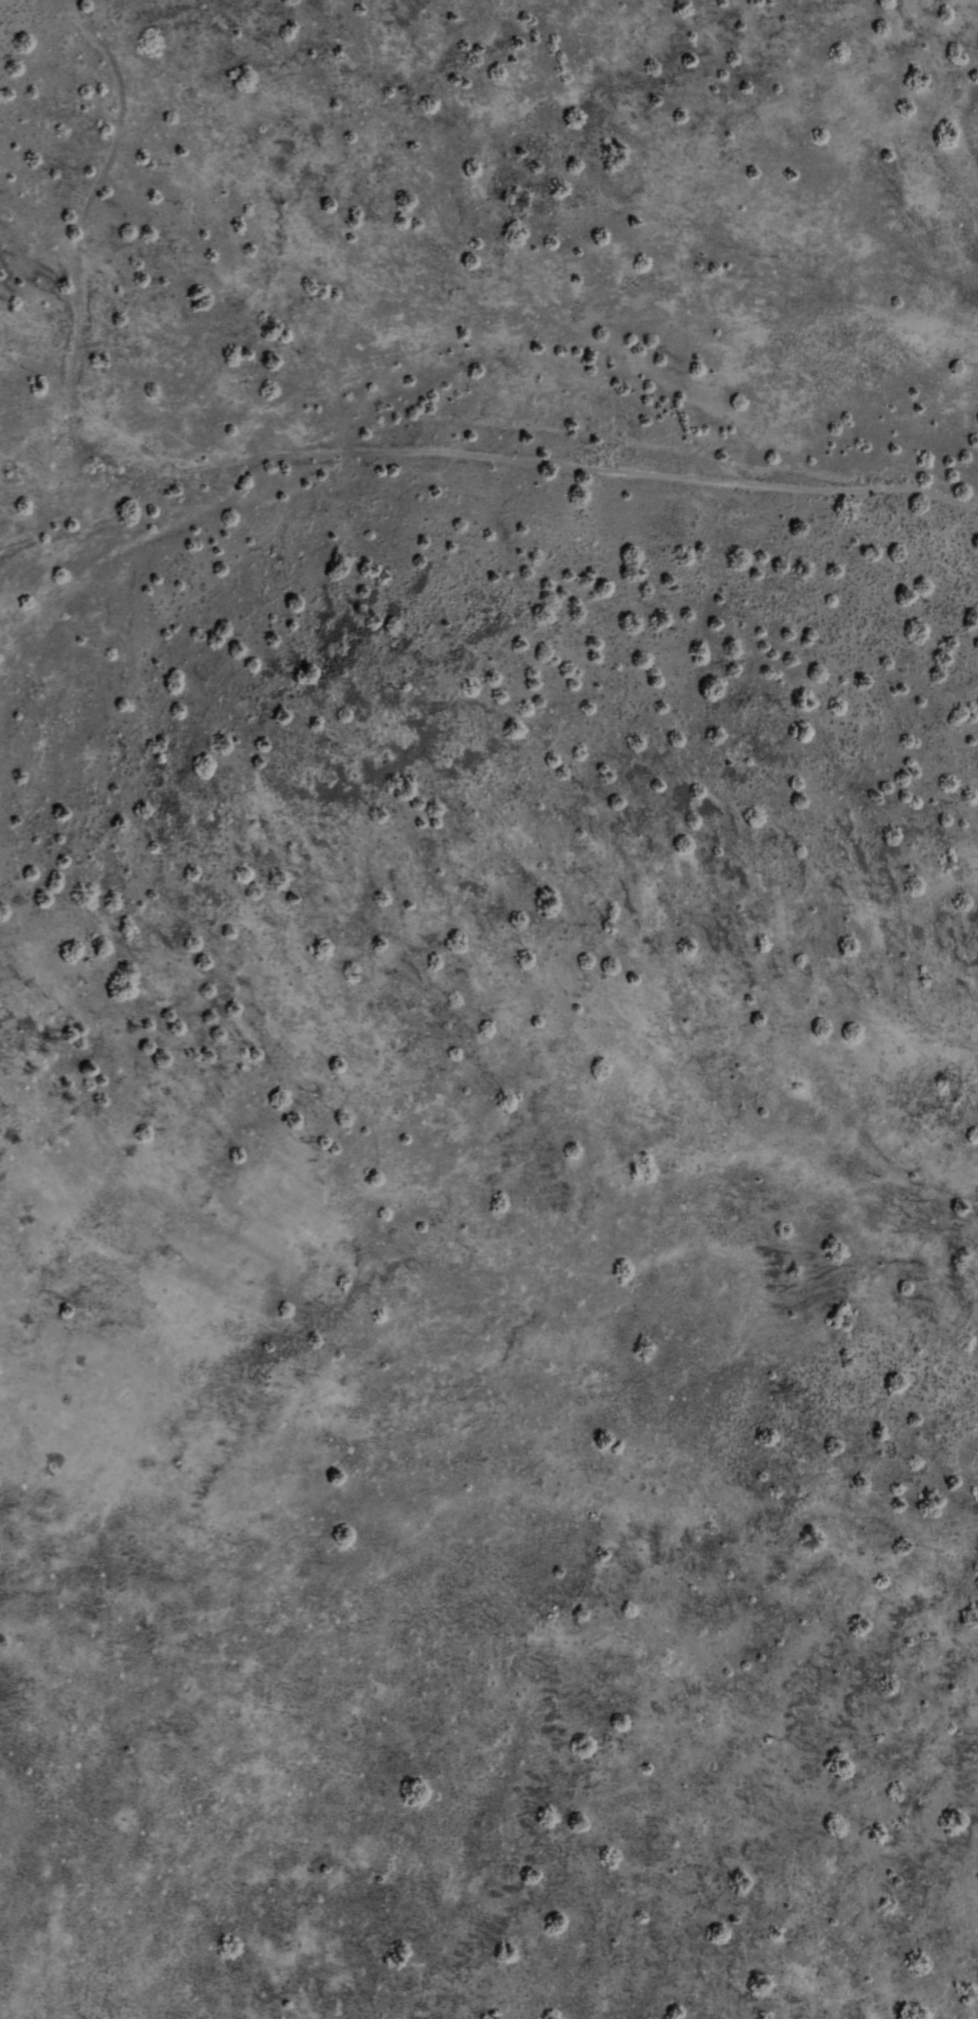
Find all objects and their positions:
road: (309, 453)

